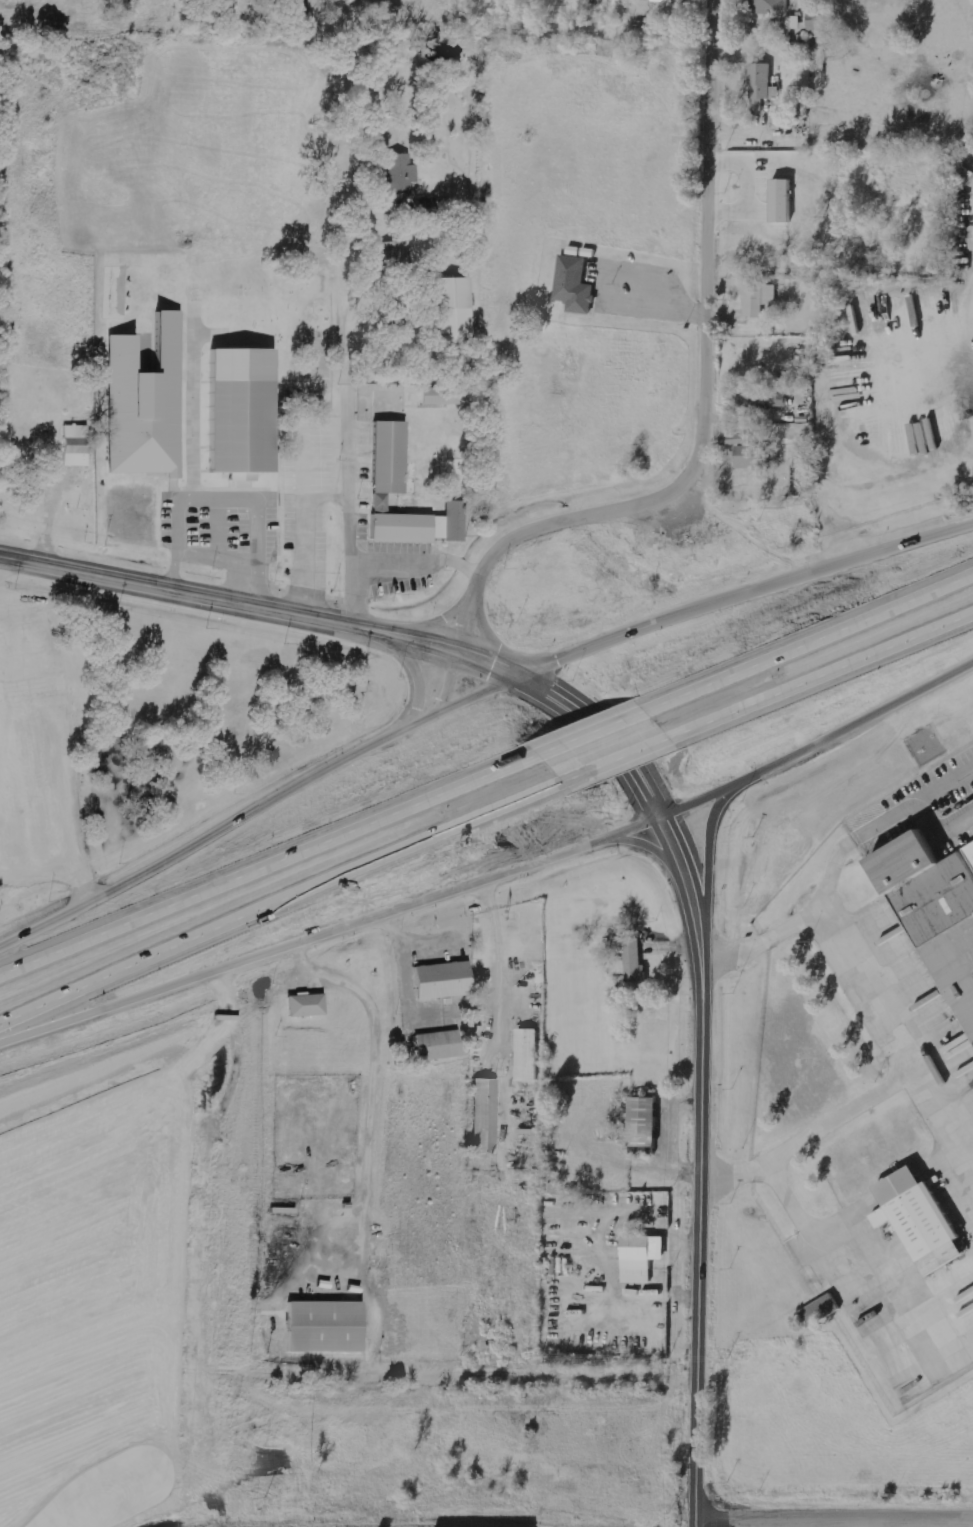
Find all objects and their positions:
building: (669, 1)
building: (771, 5)
building: (796, 22)
building: (822, 22)
building: (763, 81)
building: (758, 106)
building: (401, 174)
building: (785, 201)
building: (428, 208)
building: (395, 257)
building: (576, 285)
building: (760, 299)
building: (456, 307)
road: (712, 370)
building: (443, 397)
building: (773, 399)
building: (148, 405)
building: (246, 413)
building: (77, 446)
building: (747, 453)
building: (391, 458)
road: (230, 598)
road: (444, 620)
road: (479, 629)
road: (807, 638)
road: (459, 652)
road: (411, 668)
road: (822, 677)
road: (470, 695)
road: (588, 730)
road: (619, 762)
road: (706, 842)
road: (652, 845)
road: (268, 860)
road: (50, 864)
road: (496, 875)
road: (283, 903)
building: (931, 907)
road: (771, 938)
building: (633, 958)
building: (445, 981)
road: (887, 991)
building: (308, 1005)
road: (701, 1034)
building: (439, 1045)
building: (530, 1054)
building: (486, 1116)
building: (647, 1122)
road: (816, 1131)
building: (913, 1220)
building: (644, 1257)
building: (817, 1309)
building: (319, 1328)
road: (459, 1372)
road: (87, 1501)
road: (833, 1514)

